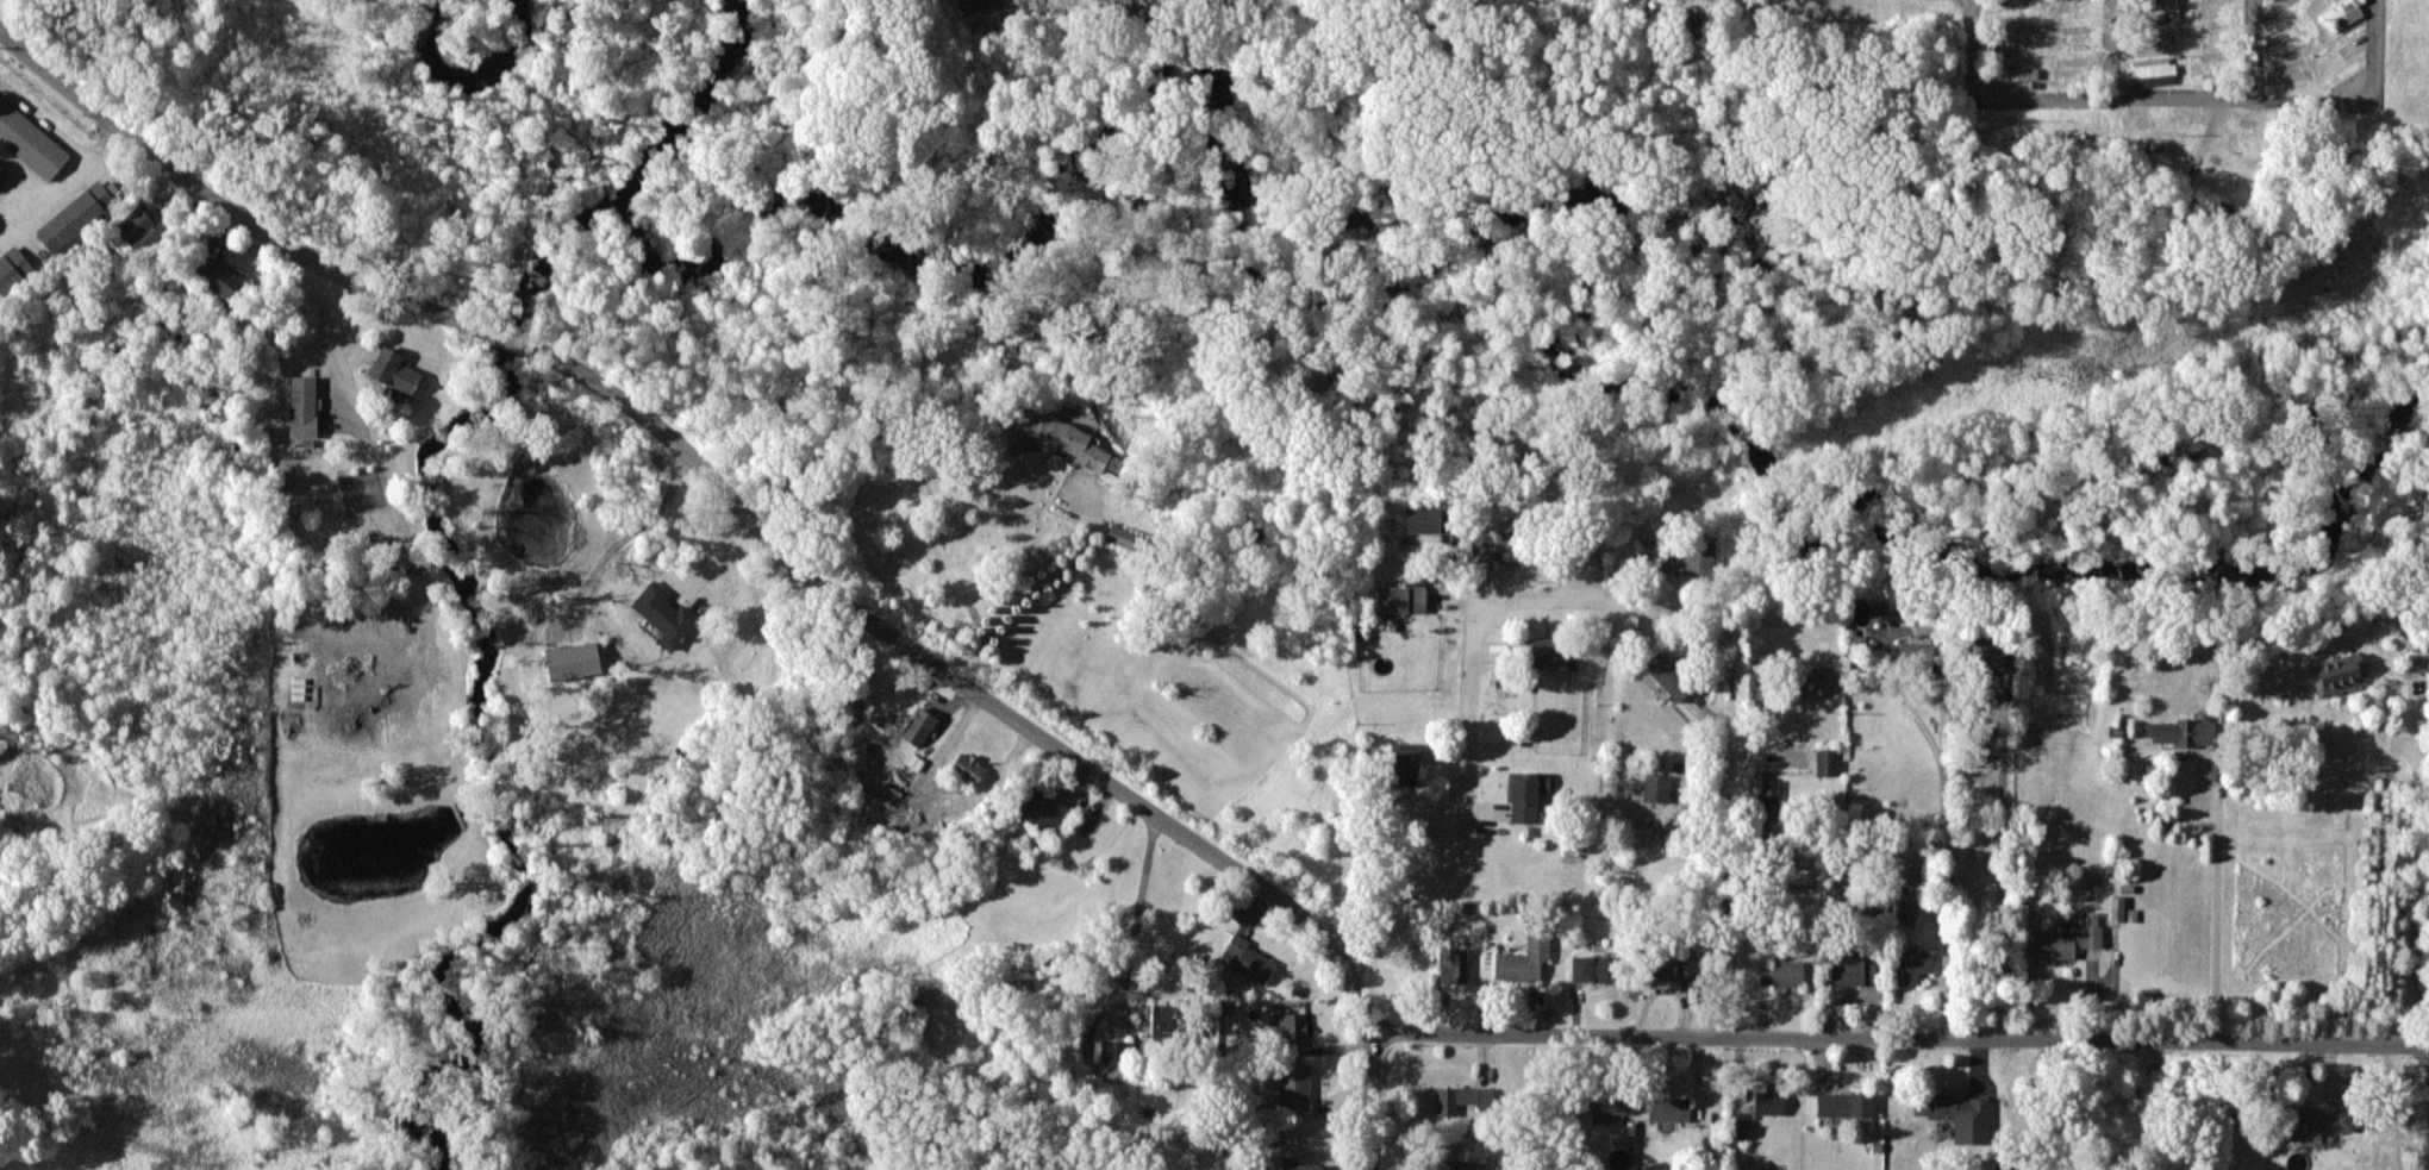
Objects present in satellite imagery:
building: (2342, 12)
road: (2115, 51)
road: (2255, 52)
building: (2152, 71)
building: (2011, 74)
road: (2178, 104)
building: (30, 140)
building: (75, 214)
building: (135, 225)
building: (12, 268)
building: (220, 277)
building: (394, 370)
road: (351, 388)
building: (302, 406)
building: (1053, 436)
building: (1423, 518)
road: (630, 534)
road: (769, 537)
building: (1123, 537)
building: (1497, 542)
building: (1686, 557)
road: (1029, 586)
building: (1401, 599)
road: (1584, 599)
building: (1887, 609)
building: (663, 613)
building: (1547, 650)
building: (1913, 653)
building: (1985, 653)
building: (573, 661)
building: (2417, 662)
building: (2339, 674)
building: (1668, 675)
building: (1822, 680)
building: (918, 726)
building: (2183, 731)
road: (1943, 737)
building: (1827, 762)
building: (1404, 763)
building: (968, 768)
building: (1656, 787)
building: (1526, 794)
building: (1768, 799)
road: (1469, 807)
building: (1047, 811)
building: (1910, 864)
road: (2004, 872)
road: (2417, 872)
road: (1726, 875)
building: (1905, 908)
building: (2117, 908)
road: (1138, 911)
road: (2218, 916)
building: (2068, 940)
building: (1248, 959)
building: (1524, 959)
building: (1453, 965)
building: (1667, 965)
building: (1588, 966)
building: (1911, 966)
building: (1853, 971)
building: (1780, 972)
building: (1164, 1019)
building: (1291, 1027)
road: (1904, 1038)
building: (1116, 1052)
building: (1294, 1083)
building: (1461, 1096)
building: (1769, 1099)
building: (1610, 1101)
building: (1843, 1103)
building: (1669, 1108)
building: (1959, 1115)
building: (1742, 1120)
building: (2316, 1120)
building: (1447, 1158)
building: (1299, 1166)
building: (2011, 1166)

